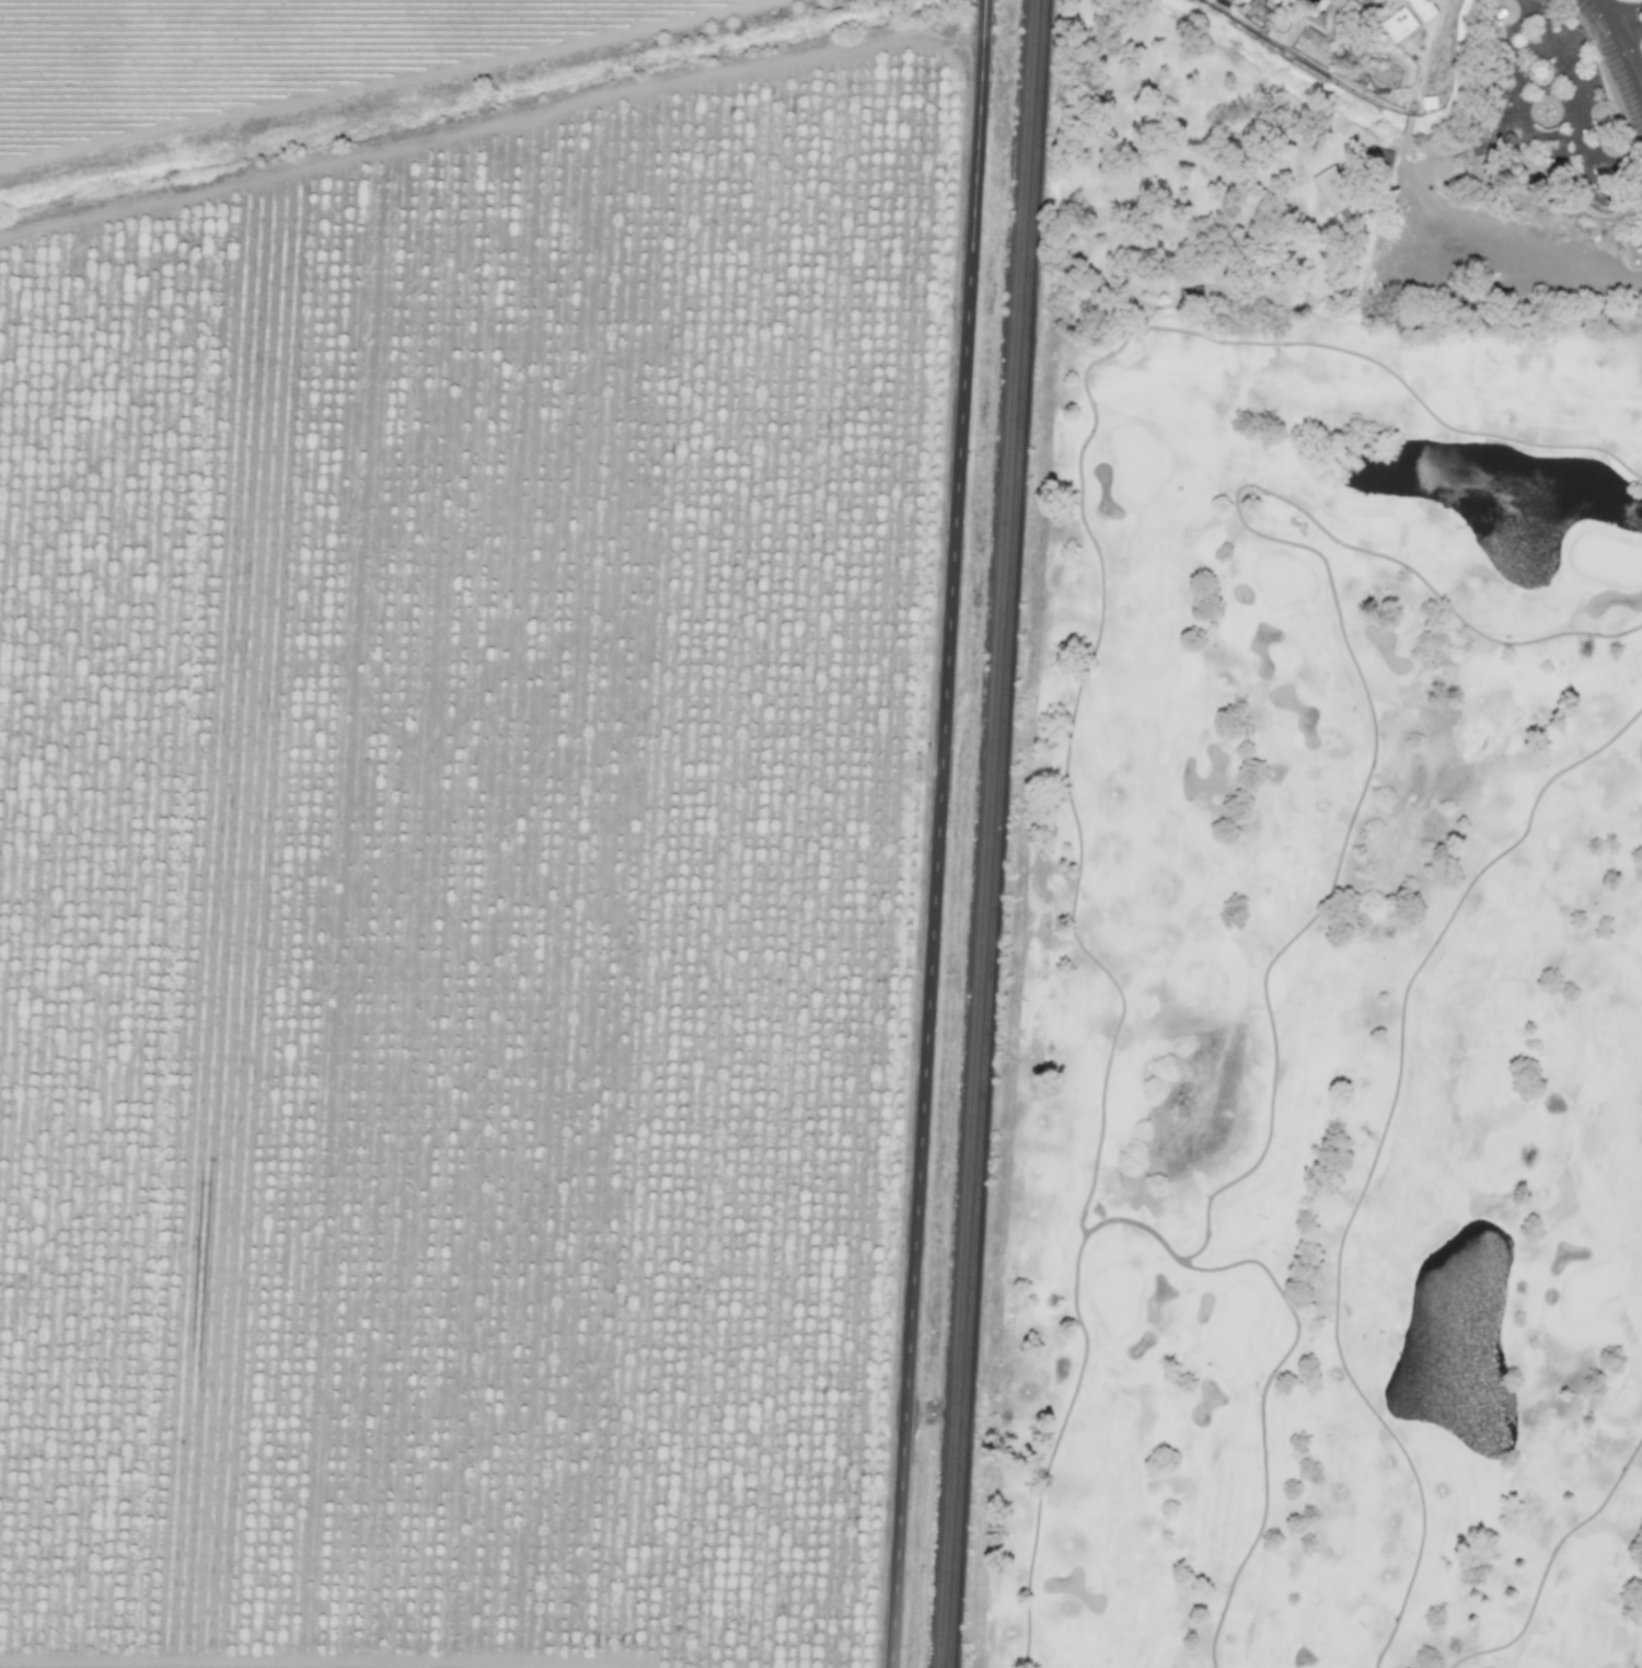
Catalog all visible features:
building: (1423, 9)
road: (1608, 11)
road: (1634, 12)
road: (1635, 22)
building: (1399, 24)
building: (1516, 41)
road: (1624, 49)
theme park: (1552, 118)
park: (1344, 158)
building: (1377, 158)
building: (1334, 189)
building: (1191, 289)
road: (939, 833)
railway: (984, 833)
railway: (1001, 833)
park: (1320, 1002)

